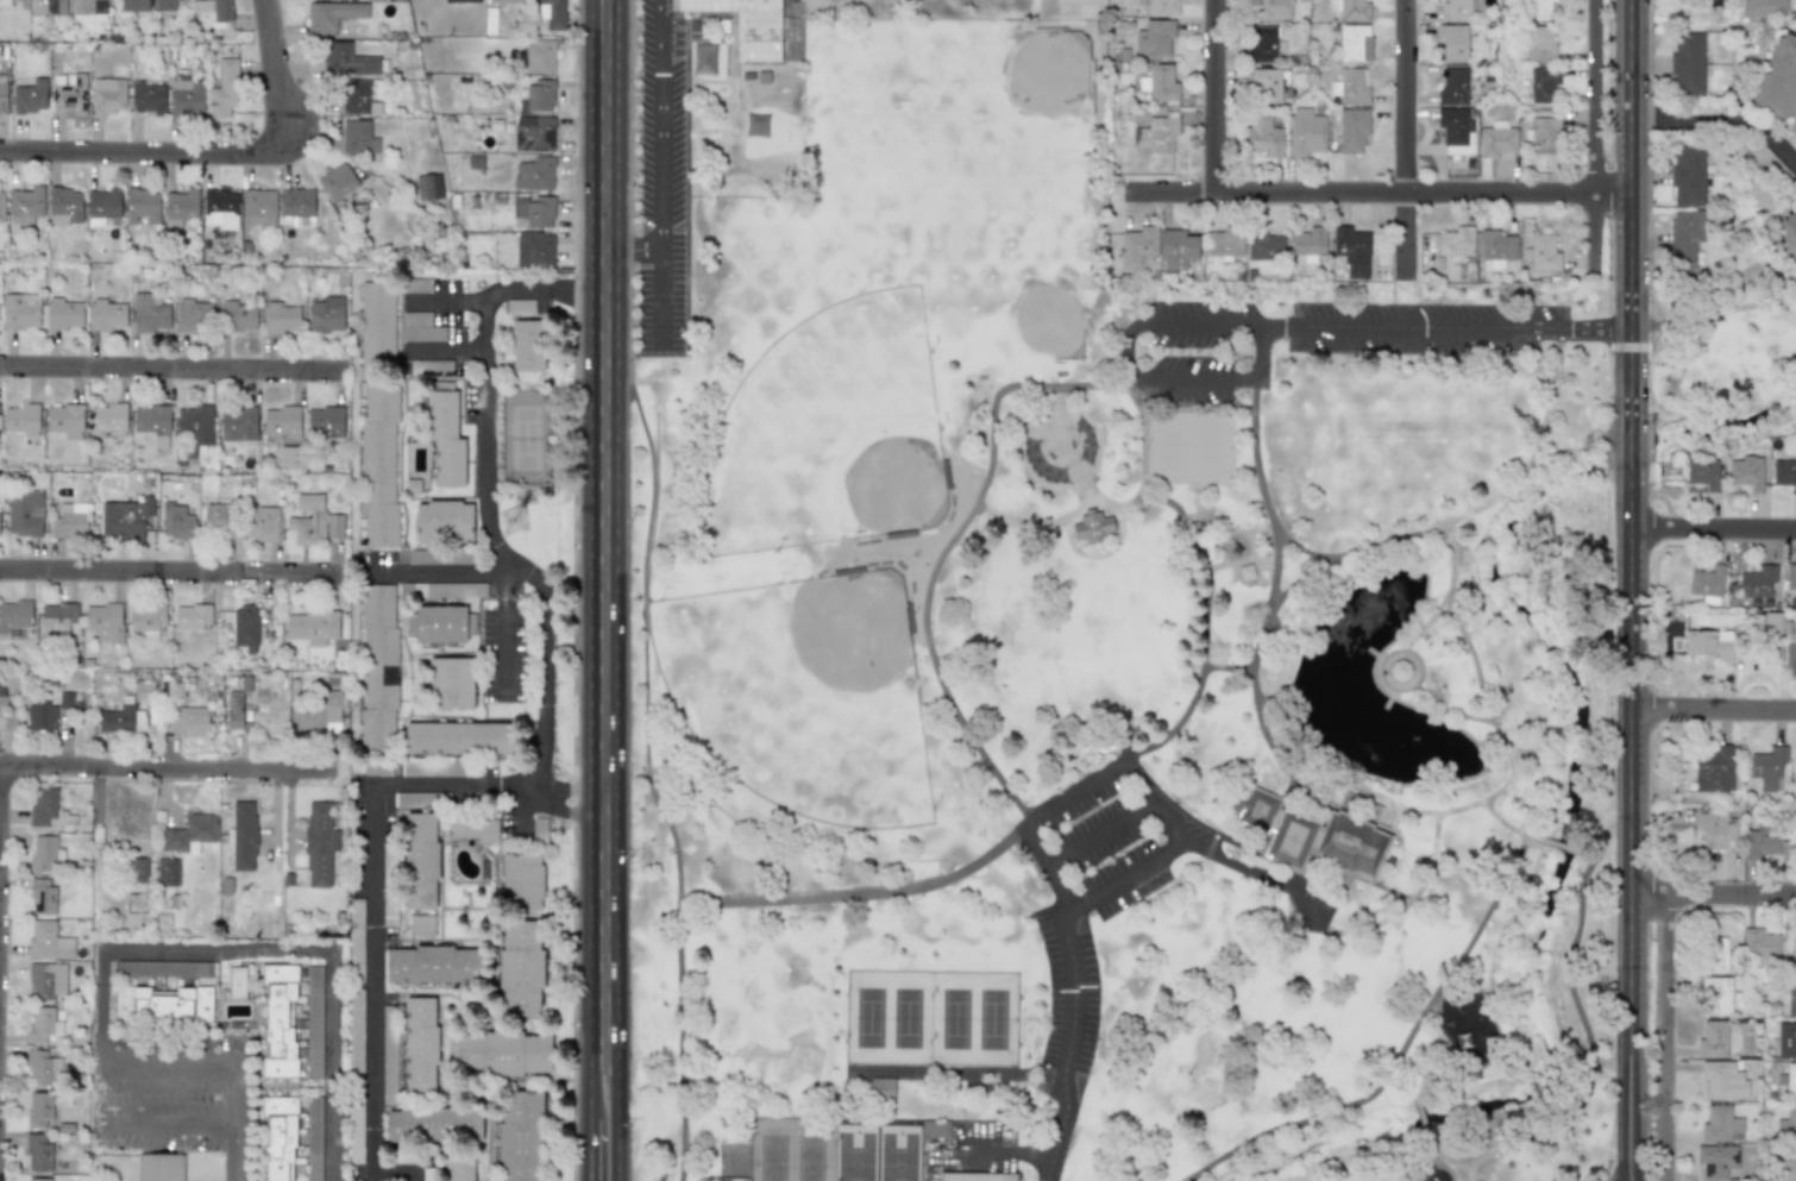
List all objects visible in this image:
building: (461, 0)
building: (504, 1)
building: (4, 2)
building: (164, 5)
building: (81, 6)
building: (133, 6)
building: (1163, 7)
building: (1764, 7)
building: (43, 8)
building: (1538, 8)
building: (221, 10)
building: (1269, 10)
building: (1351, 10)
building: (1458, 10)
building: (554, 14)
building: (329, 15)
building: (748, 25)
building: (1154, 38)
building: (1453, 42)
building: (1355, 43)
building: (1262, 44)
building: (1540, 45)
building: (540, 56)
building: (346, 59)
building: (1687, 63)
building: (1778, 78)
building: (1158, 83)
building: (1544, 83)
road: (277, 84)
building: (1264, 86)
building: (1350, 87)
building: (224, 88)
building: (1453, 88)
building: (70, 95)
building: (107, 95)
building: (539, 95)
building: (30, 98)
building: (147, 98)
building: (186, 98)
building: (354, 98)
road: (1219, 98)
building: (2, 99)
road: (659, 124)
road: (1721, 125)
building: (1354, 130)
building: (1157, 131)
building: (1456, 131)
building: (1306, 132)
building: (1543, 134)
building: (354, 136)
building: (534, 136)
road: (1595, 136)
building: (1263, 137)
building: (1496, 139)
road: (1407, 144)
road: (131, 150)
building: (1769, 162)
building: (534, 174)
building: (1688, 175)
building: (335, 182)
building: (428, 187)
road: (1379, 193)
building: (27, 202)
building: (295, 202)
building: (102, 203)
building: (181, 205)
building: (258, 205)
building: (1, 206)
building: (64, 206)
building: (140, 206)
building: (218, 209)
building: (533, 213)
road: (1629, 215)
building: (1788, 234)
building: (1685, 239)
building: (1225, 241)
building: (1456, 243)
building: (1137, 246)
building: (1264, 246)
road: (633, 249)
building: (1178, 249)
building: (534, 250)
building: (1352, 250)
building: (1495, 250)
building: (1543, 253)
building: (416, 284)
road: (658, 295)
road: (444, 300)
building: (520, 306)
road: (1712, 309)
building: (20, 310)
building: (62, 313)
building: (149, 313)
building: (107, 314)
building: (193, 314)
building: (238, 315)
building: (325, 315)
building: (281, 318)
building: (377, 323)
building: (421, 327)
road: (1276, 331)
parking lot: (1315, 339)
building: (527, 345)
road: (444, 351)
park: (1723, 363)
building: (431, 366)
road: (180, 375)
building: (108, 417)
building: (21, 419)
building: (65, 420)
building: (282, 421)
building: (152, 422)
building: (325, 422)
building: (237, 423)
building: (195, 426)
park: (830, 436)
building: (445, 441)
road: (1144, 450)
building: (290, 457)
road: (1628, 457)
building: (378, 464)
building: (1747, 472)
building: (1702, 473)
building: (1784, 473)
road: (486, 491)
building: (24, 513)
building: (124, 519)
building: (219, 519)
road: (607, 519)
building: (69, 521)
building: (176, 521)
building: (313, 521)
building: (442, 521)
power tower: (511, 522)
building: (260, 523)
building: (1093, 526)
road: (1712, 527)
road: (1199, 547)
road: (1307, 552)
road: (1098, 555)
building: (440, 557)
road: (1349, 560)
road: (1238, 565)
road: (446, 572)
road: (171, 573)
building: (1790, 577)
building: (1758, 582)
building: (1707, 583)
building: (442, 589)
building: (15, 615)
building: (193, 616)
building: (57, 618)
building: (146, 620)
building: (103, 622)
building: (442, 623)
road: (1428, 624)
building: (312, 626)
building: (245, 627)
road: (503, 633)
building: (1710, 643)
building: (1790, 659)
road: (934, 665)
road: (1231, 665)
building: (378, 667)
park: (1103, 680)
building: (450, 683)
road: (1401, 690)
building: (144, 691)
park: (805, 696)
building: (65, 699)
building: (234, 709)
road: (1712, 709)
road: (1449, 711)
building: (7, 712)
building: (318, 715)
building: (40, 716)
building: (121, 717)
building: (188, 721)
building: (457, 737)
building: (423, 767)
building: (1767, 767)
road: (167, 768)
building: (377, 769)
building: (1716, 769)
road: (648, 774)
building: (1794, 777)
building: (410, 799)
building: (44, 806)
road: (517, 810)
road: (1451, 813)
road: (1030, 821)
building: (475, 828)
road: (1509, 830)
building: (1719, 831)
building: (189, 833)
building: (1317, 833)
road: (1628, 833)
road: (1098, 835)
building: (244, 836)
building: (319, 843)
building: (1766, 846)
building: (1795, 847)
road: (1555, 848)
building: (45, 853)
building: (420, 859)
road: (373, 867)
building: (138, 868)
building: (167, 872)
building: (389, 880)
road: (1125, 880)
building: (521, 881)
parking lot: (1129, 887)
road: (1712, 893)
building: (42, 896)
road: (1408, 905)
building: (421, 924)
building: (48, 941)
building: (1762, 943)
road: (285, 948)
building: (1715, 954)
building: (1794, 956)
building: (433, 965)
building: (163, 968)
building: (520, 969)
building: (46, 980)
building: (237, 982)
building: (356, 984)
building: (1716, 994)
building: (1791, 999)
building: (162, 1003)
park: (765, 1014)
park: (931, 1020)
building: (42, 1024)
road: (1584, 1030)
road: (1668, 1037)
building: (1715, 1039)
building: (1786, 1039)
building: (420, 1044)
building: (388, 1048)
road: (99, 1049)
building: (502, 1053)
road: (1401, 1056)
building: (40, 1067)
building: (1722, 1080)
building: (1790, 1081)
building: (881, 1087)
road: (1408, 1088)
road: (595, 1107)
road: (618, 1107)
building: (38, 1110)
building: (356, 1123)
road: (1421, 1123)
building: (434, 1124)
building: (1720, 1124)
building: (1786, 1126)
building: (935, 1129)
building: (520, 1135)
building: (291, 1138)
park: (836, 1150)
building: (38, 1151)
road: (237, 1156)
road: (1444, 1161)
building: (1716, 1161)
building: (1786, 1164)
building: (159, 1167)
road: (397, 1169)
building: (458, 1169)
building: (428, 1175)
building: (975, 1176)
building: (38, 1179)

